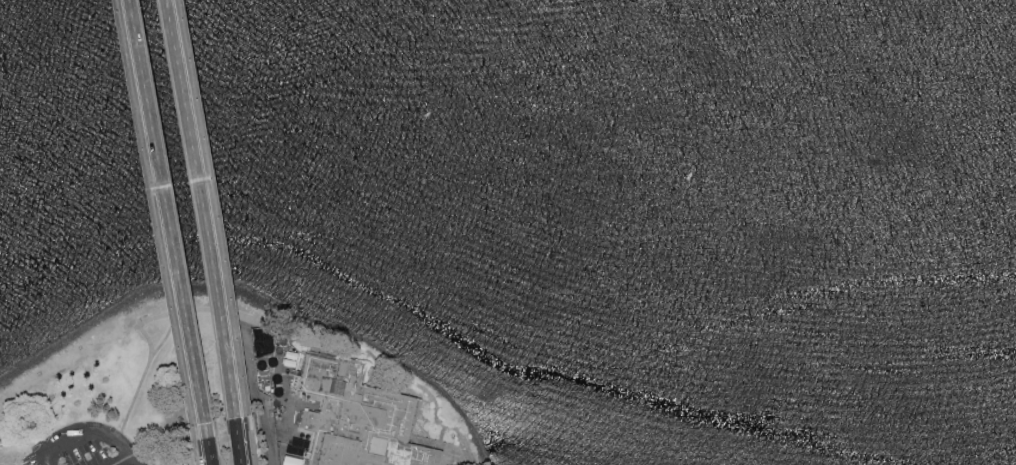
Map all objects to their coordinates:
road: (204, 209)
road: (172, 220)
road: (225, 318)
road: (148, 358)
building: (271, 363)
road: (433, 399)
building: (356, 418)
road: (97, 432)
road: (267, 433)
road: (119, 435)
road: (244, 442)
road: (245, 442)
parking lot: (87, 448)
road: (211, 452)
road: (125, 459)
building: (290, 460)
road: (49, 463)

